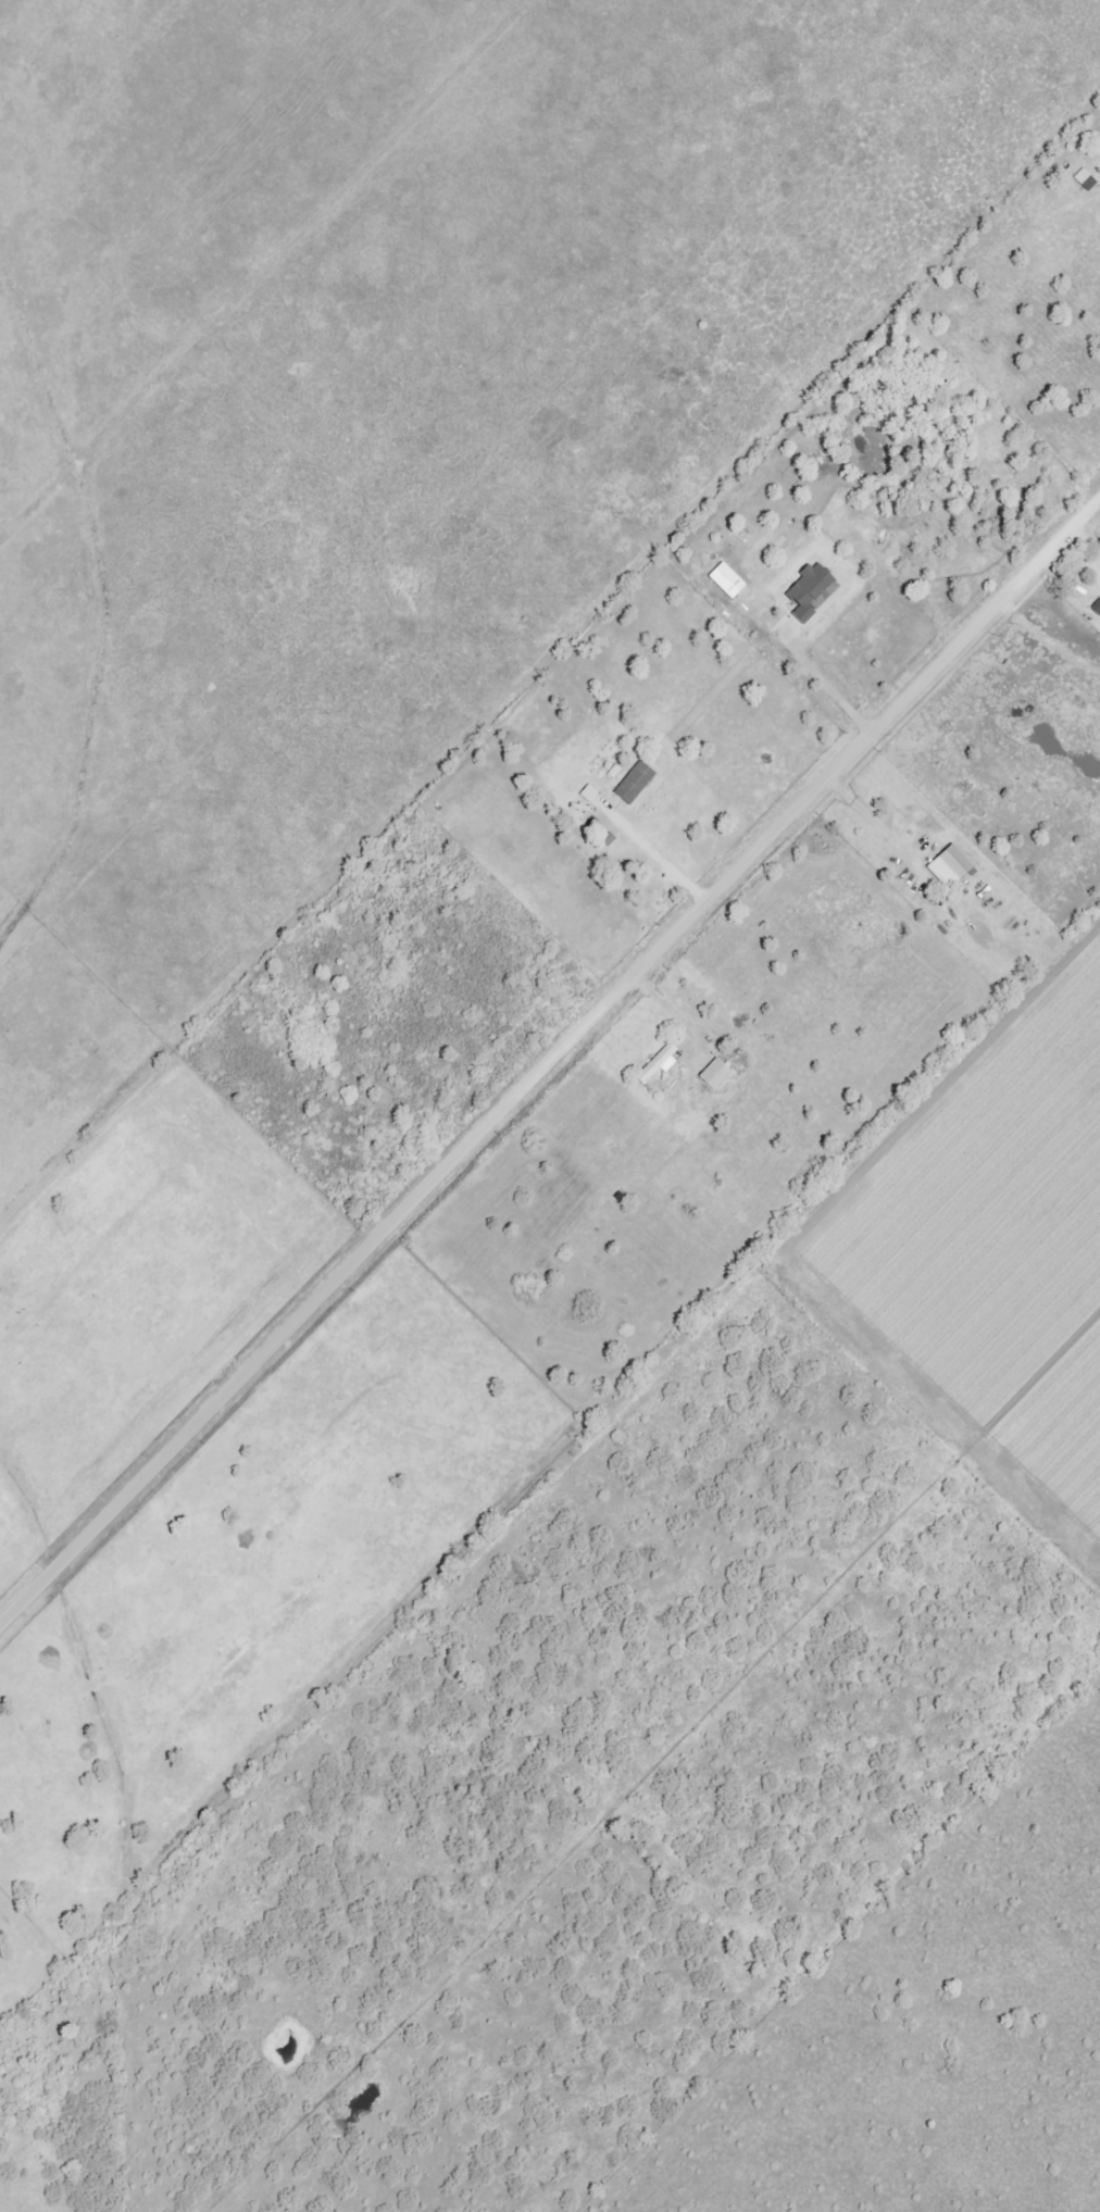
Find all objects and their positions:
building: (724, 579)
building: (809, 591)
road: (1046, 645)
road: (823, 686)
building: (634, 783)
building: (588, 793)
road: (872, 822)
road: (655, 861)
building: (947, 865)
road: (667, 1010)
road: (548, 1062)
building: (657, 1064)
building: (714, 1074)

